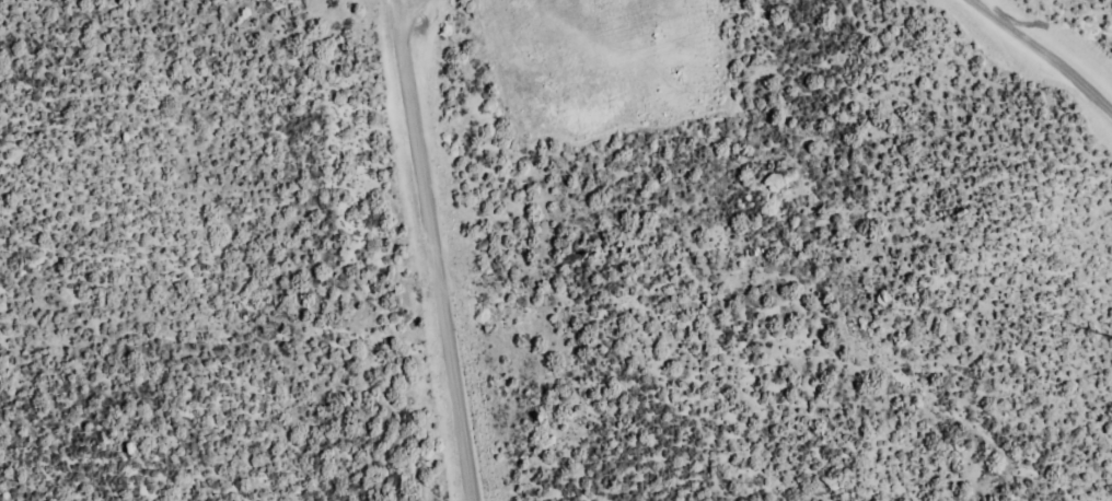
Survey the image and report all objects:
road: (407, 7)
road: (1046, 53)
building: (777, 183)
road: (433, 250)

